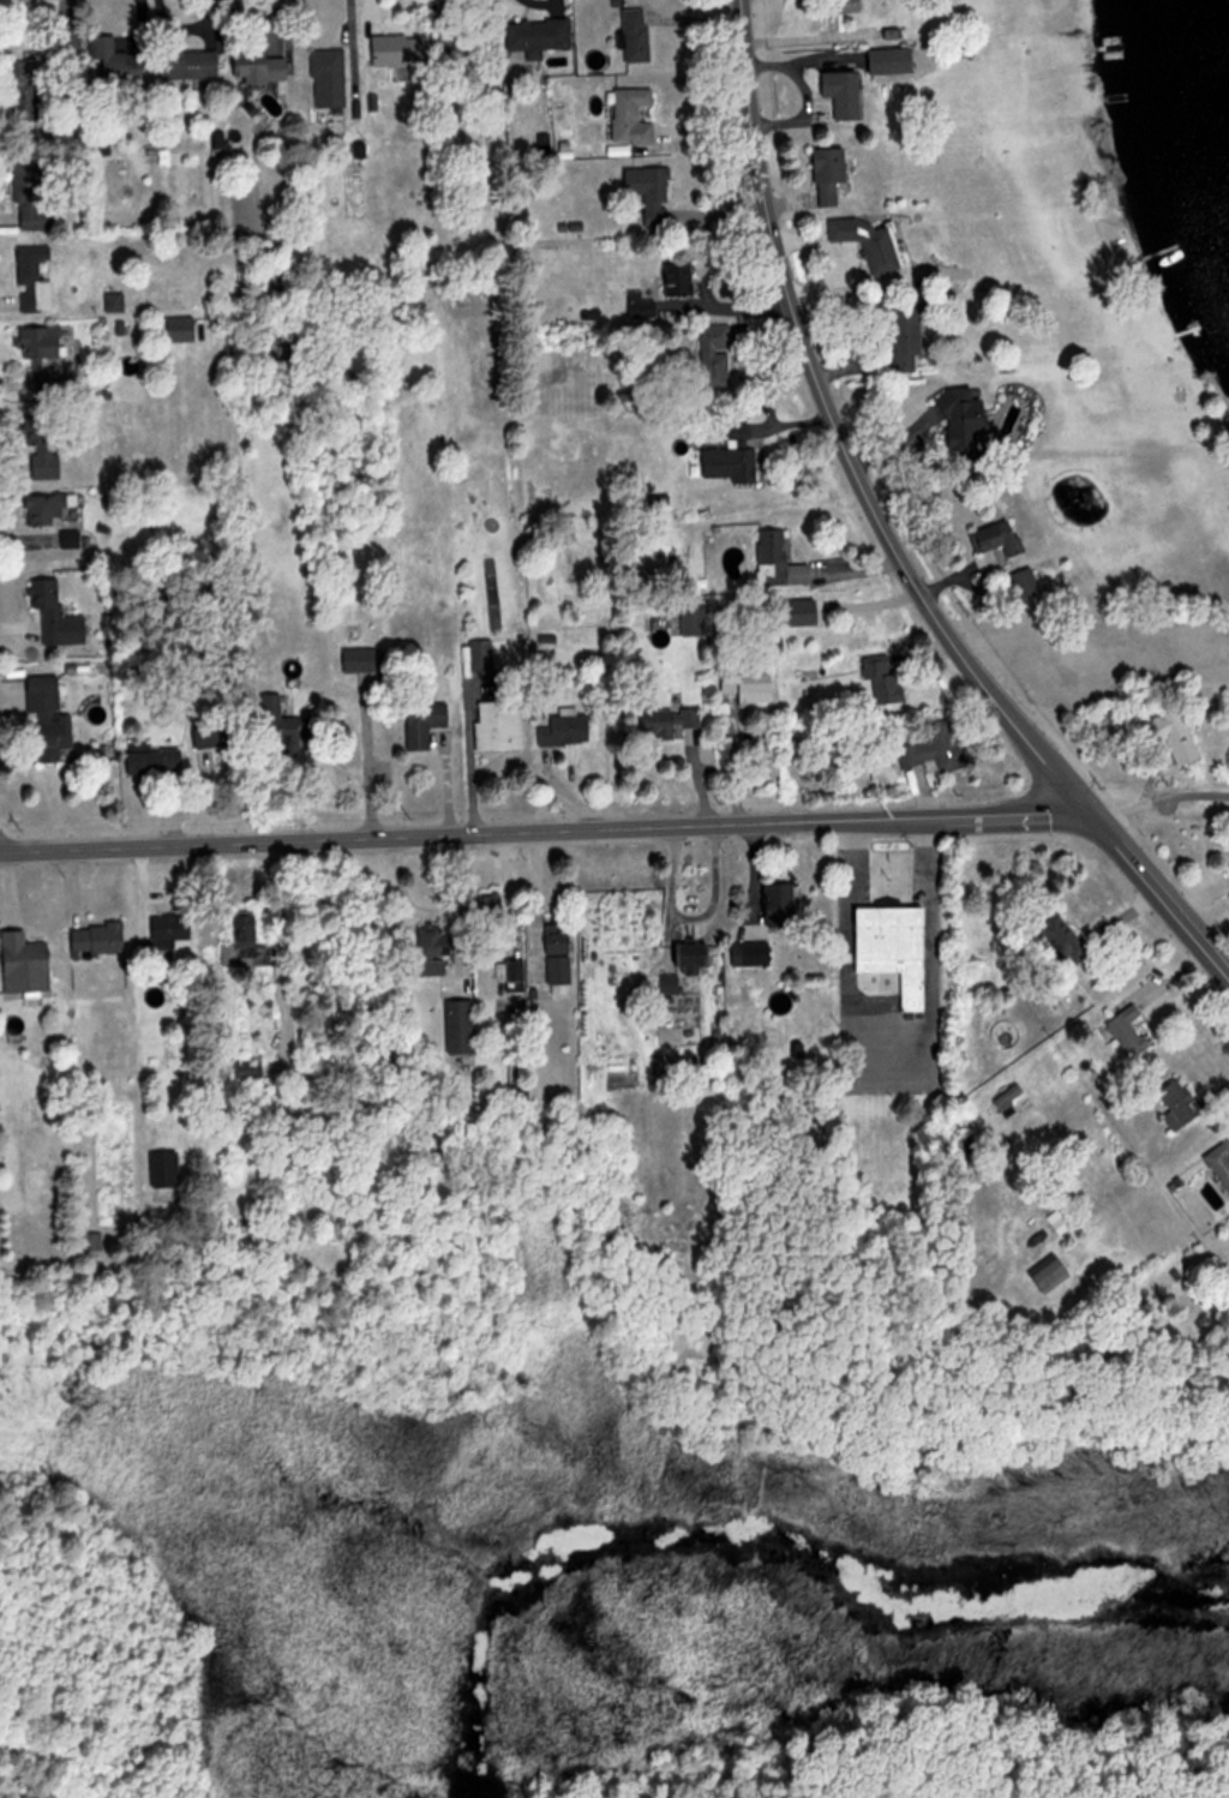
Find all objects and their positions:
building: (640, 35)
building: (542, 36)
building: (466, 38)
building: (398, 49)
building: (900, 60)
building: (119, 61)
building: (193, 64)
building: (263, 66)
building: (331, 77)
building: (26, 88)
building: (851, 91)
building: (635, 115)
building: (837, 173)
building: (652, 192)
building: (31, 198)
building: (873, 240)
building: (36, 277)
building: (682, 278)
building: (909, 338)
building: (718, 354)
building: (40, 358)
building: (972, 416)
road: (839, 438)
building: (46, 449)
building: (735, 456)
building: (50, 507)
building: (72, 538)
building: (1005, 538)
building: (783, 559)
building: (1030, 582)
building: (52, 605)
building: (694, 622)
building: (365, 658)
building: (885, 677)
building: (753, 685)
building: (53, 715)
building: (427, 720)
building: (671, 720)
building: (502, 725)
building: (287, 726)
building: (569, 729)
building: (221, 730)
building: (1182, 731)
building: (937, 749)
building: (158, 760)
road: (544, 831)
road: (1158, 897)
building: (786, 905)
building: (174, 929)
building: (102, 939)
building: (433, 940)
building: (1068, 940)
building: (248, 943)
building: (899, 948)
building: (562, 953)
building: (755, 954)
building: (697, 957)
building: (29, 963)
building: (463, 1026)
building: (1132, 1031)
building: (1011, 1096)
building: (1182, 1104)
building: (1222, 1158)
building: (1061, 1218)
building: (1053, 1270)

